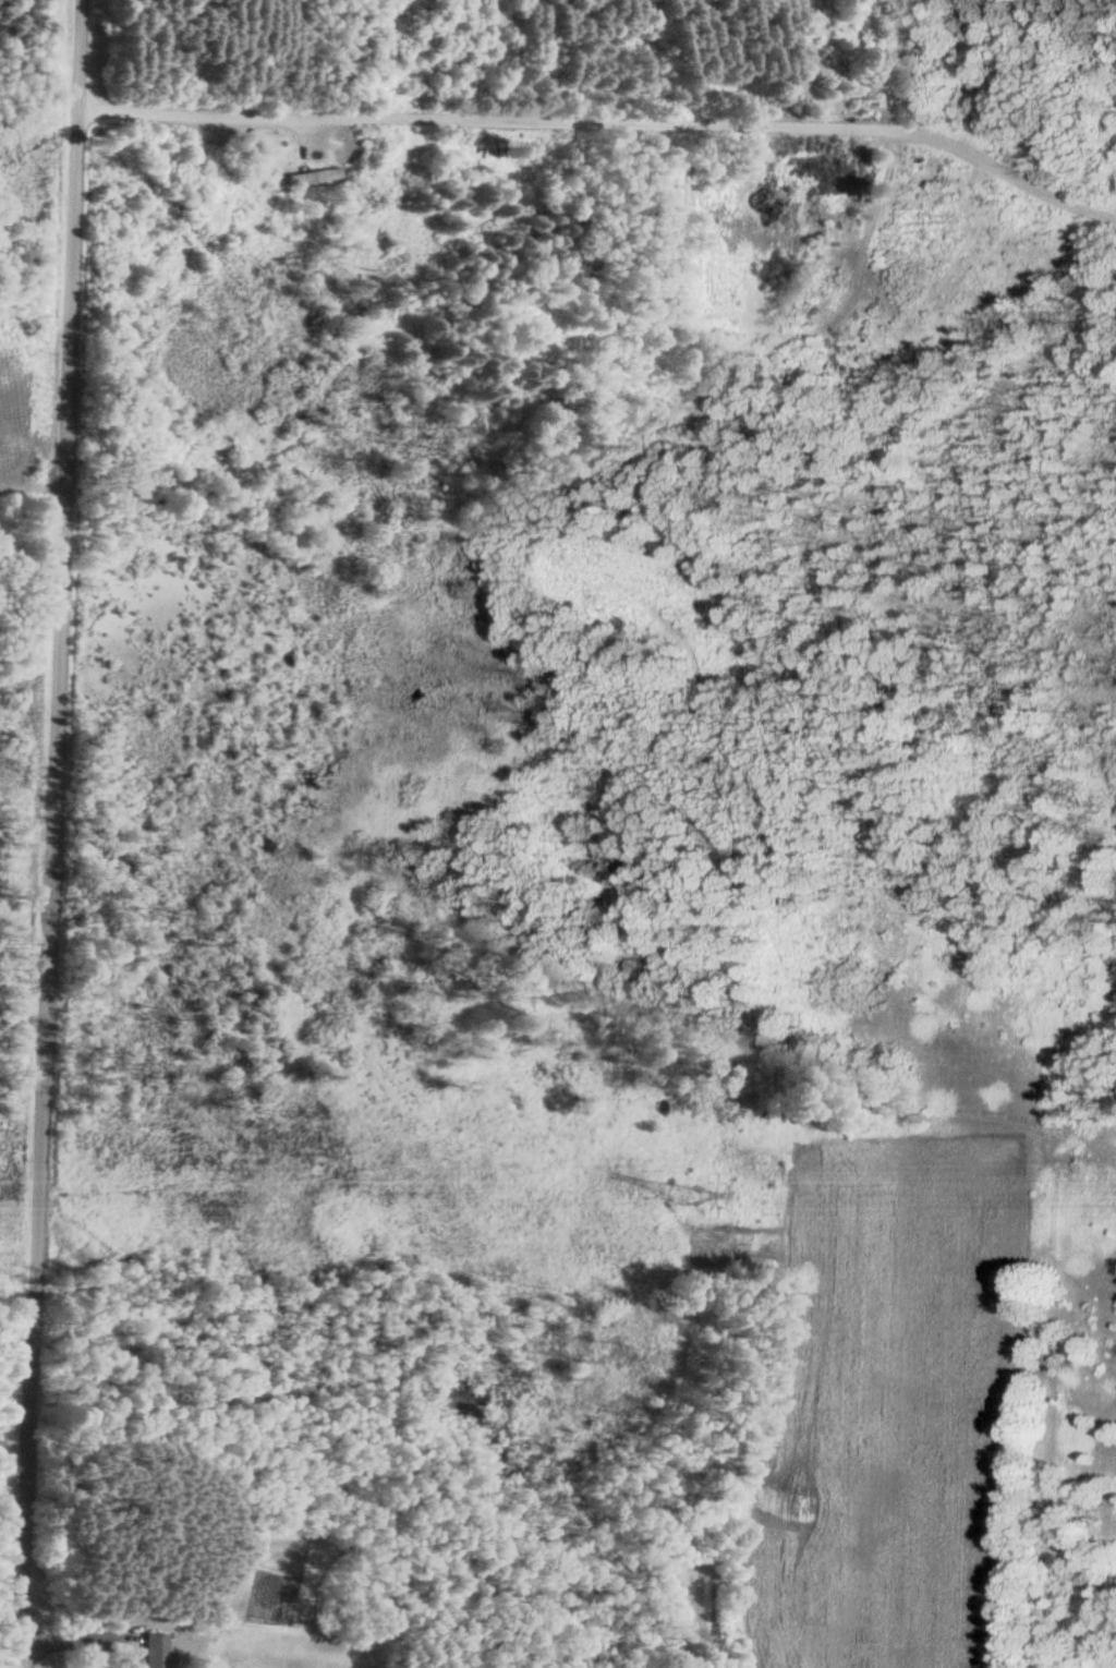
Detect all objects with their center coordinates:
road: (604, 119)
building: (280, 142)
building: (314, 178)
road: (46, 833)
power tower: (670, 1188)
building: (153, 1652)

